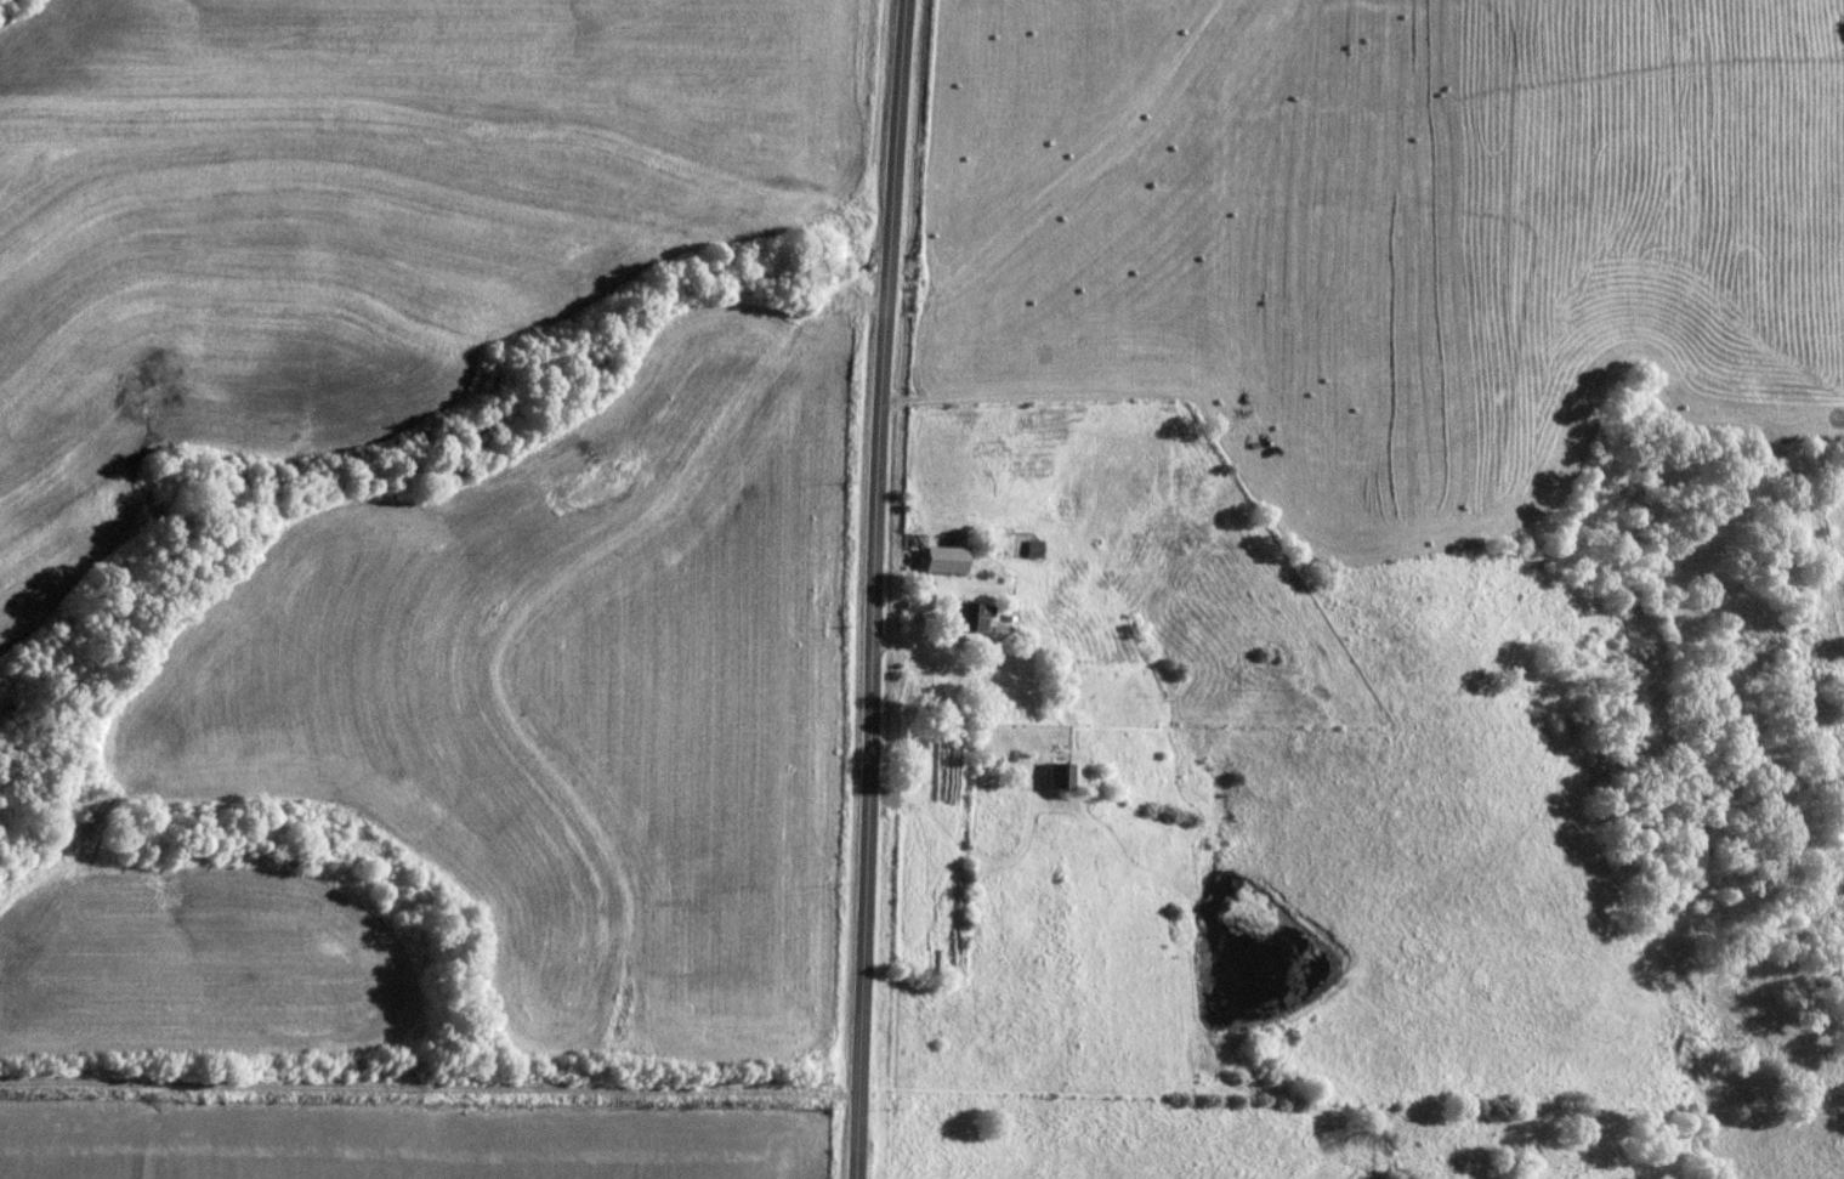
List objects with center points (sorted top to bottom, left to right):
building: (943, 561)
road: (880, 589)
building: (970, 618)
building: (999, 633)
building: (1061, 777)
road: (427, 1081)

